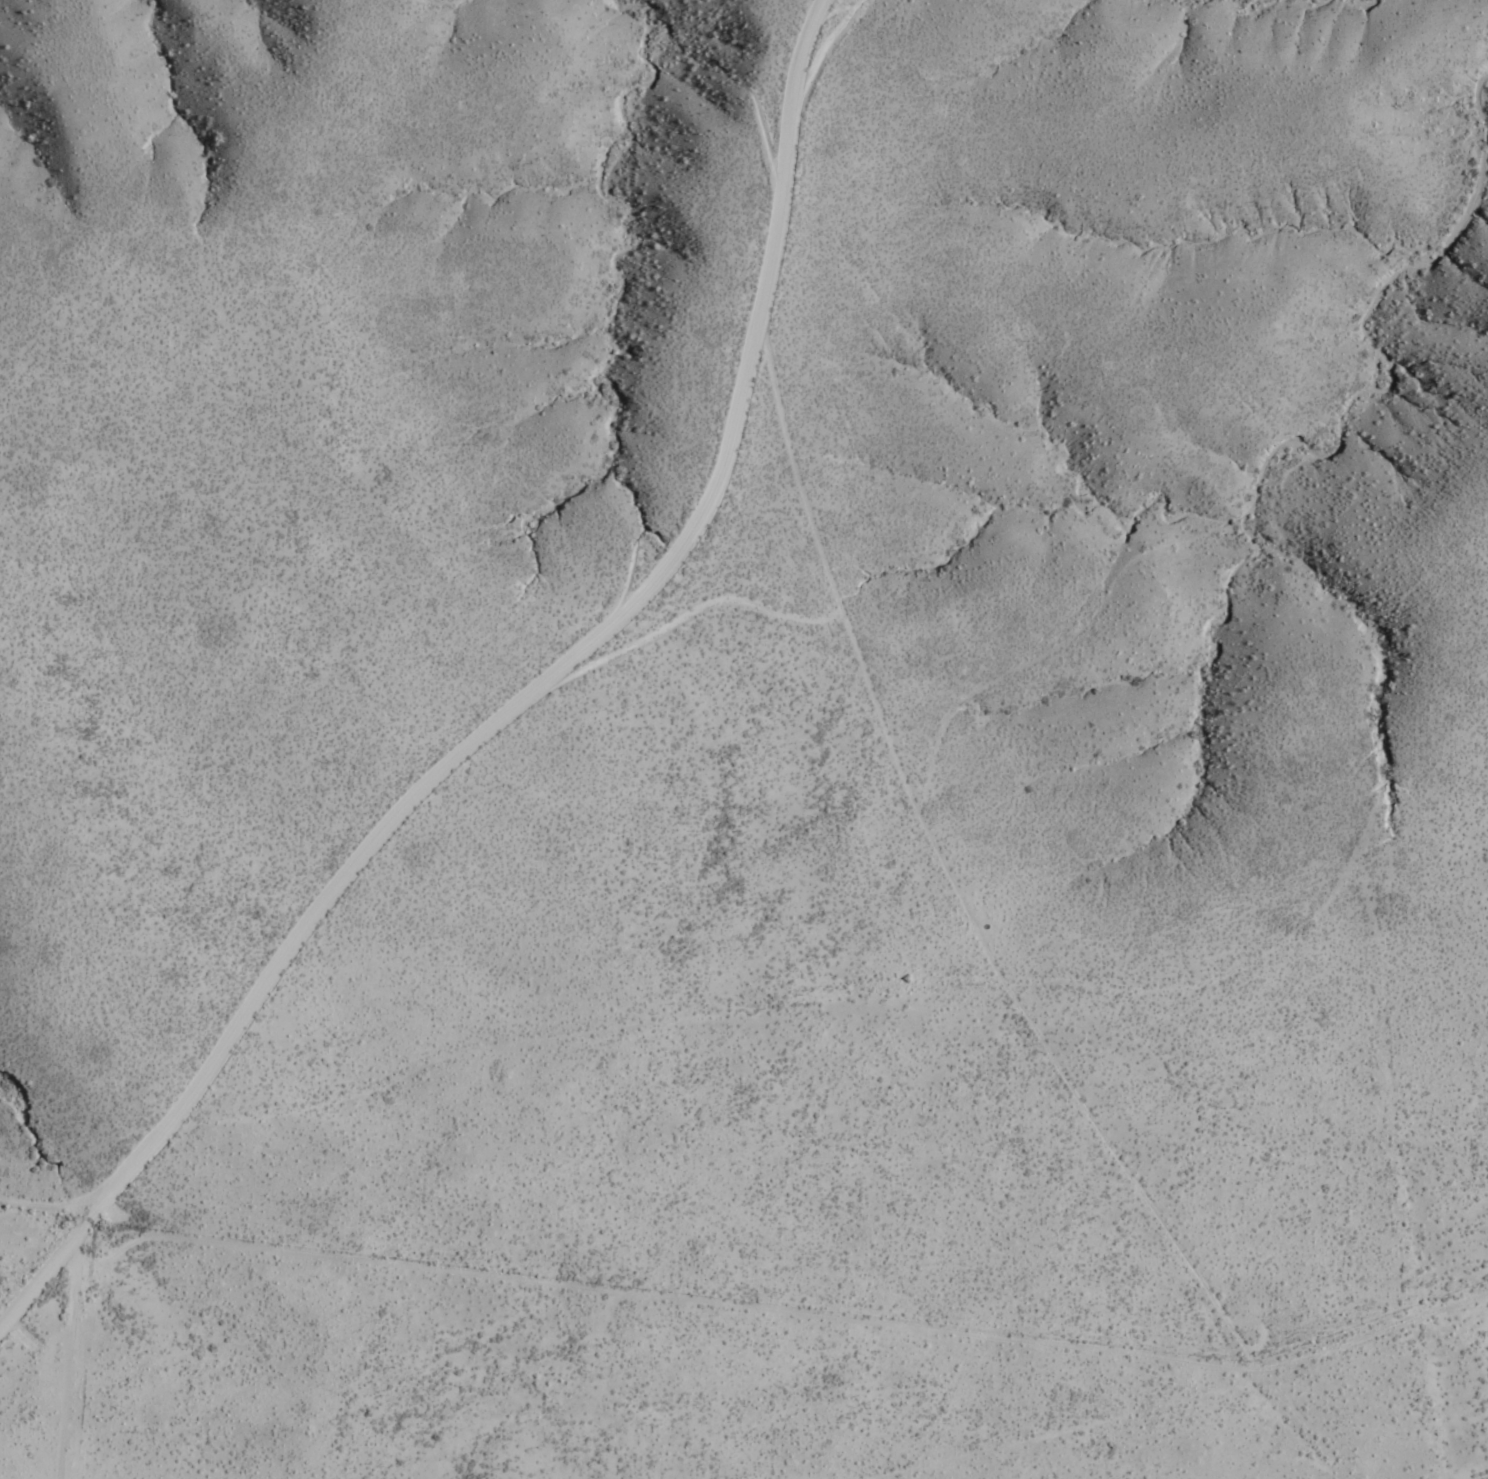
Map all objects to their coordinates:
road: (515, 710)
road: (1000, 968)
road: (28, 1254)
road: (75, 1370)
road: (1383, 1383)
road: (1224, 1444)

